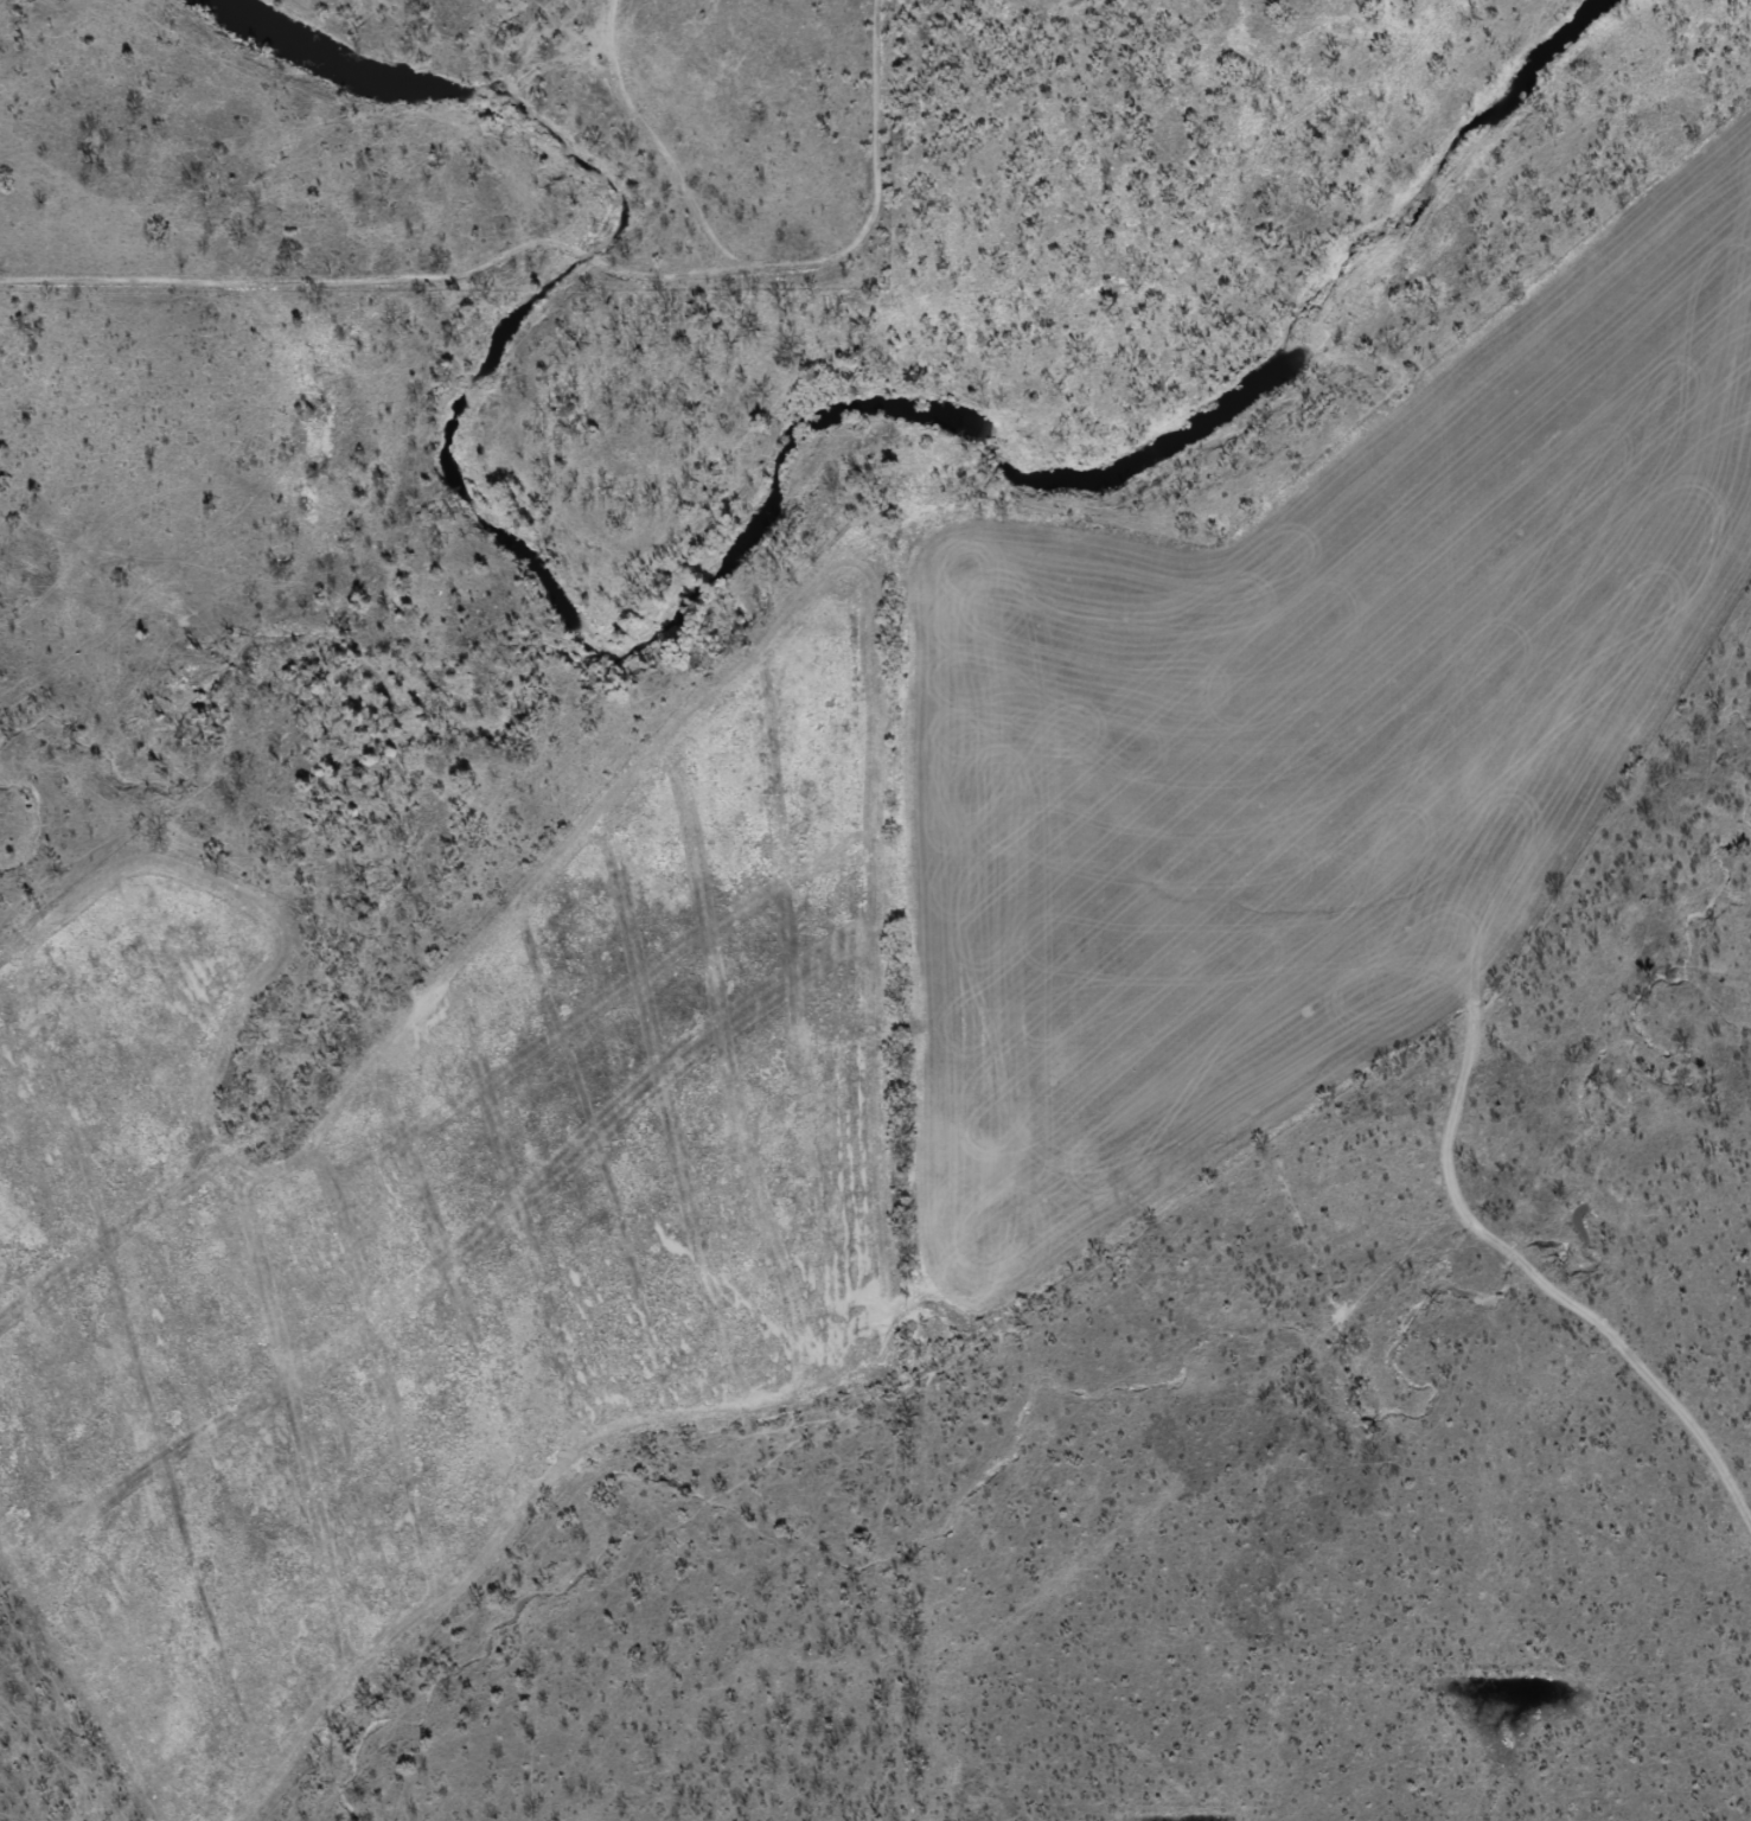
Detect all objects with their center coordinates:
road: (779, 267)
road: (1071, 739)
road: (317, 1523)

